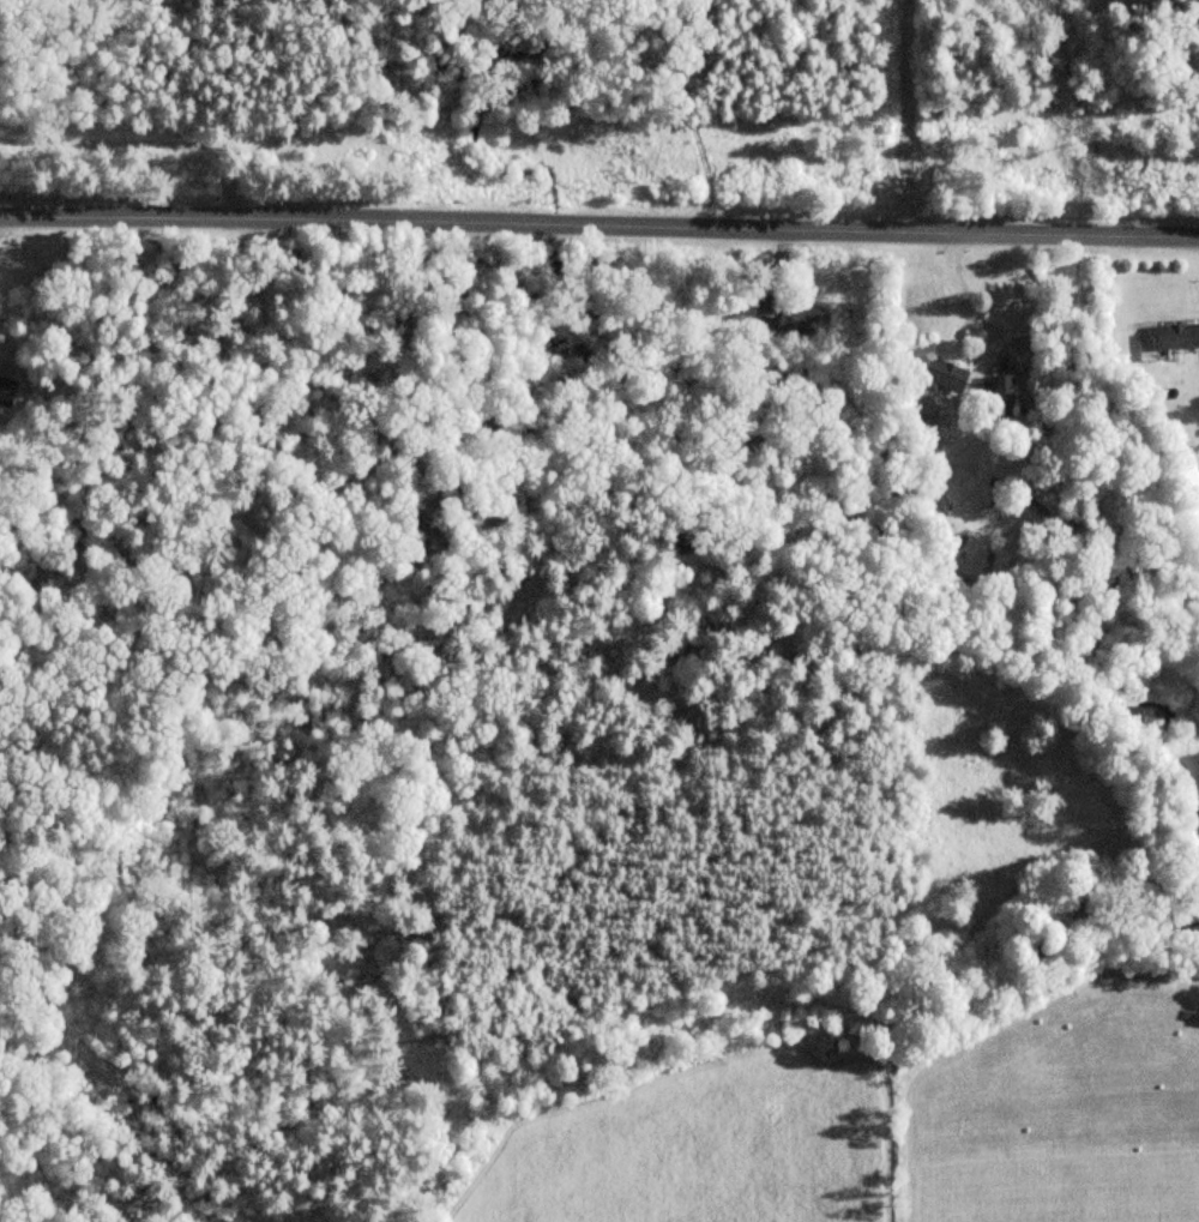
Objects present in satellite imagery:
road: (890, 115)
road: (599, 225)
building: (779, 309)
building: (1175, 335)
building: (942, 375)
building: (6, 391)
building: (1000, 397)

